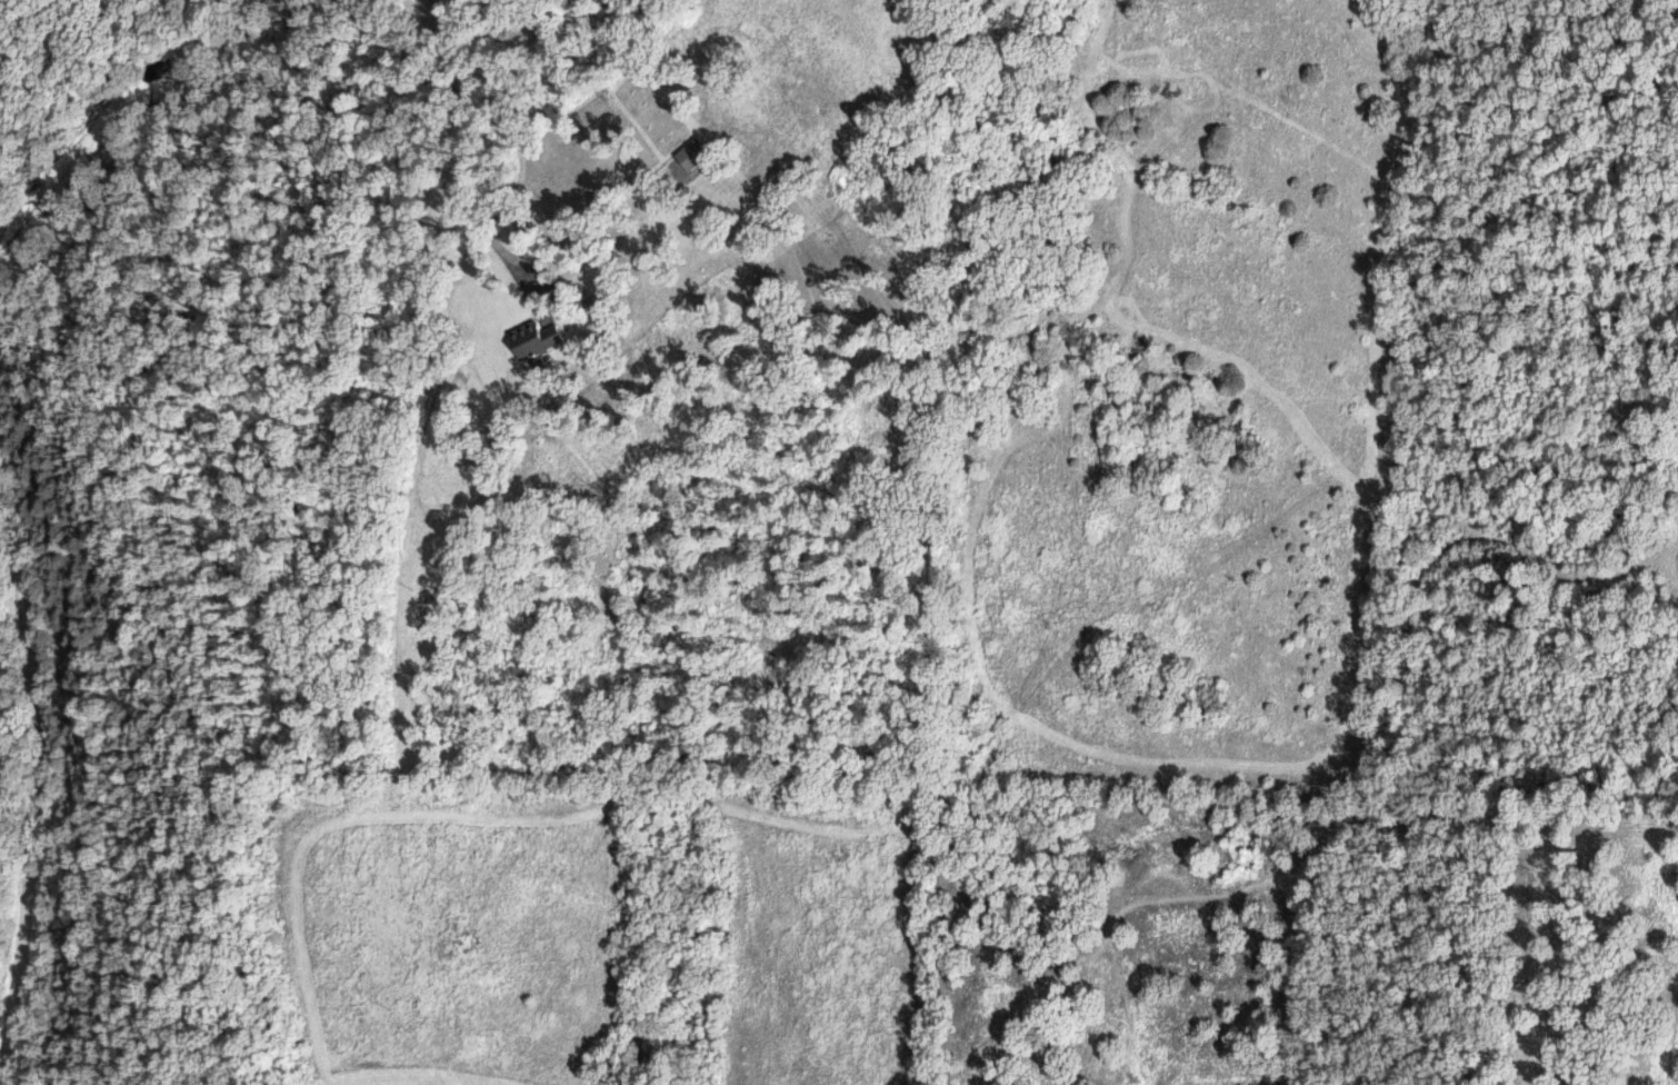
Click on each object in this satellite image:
building: (687, 153)
road: (468, 161)
road: (120, 171)
building: (529, 339)
road: (37, 762)

